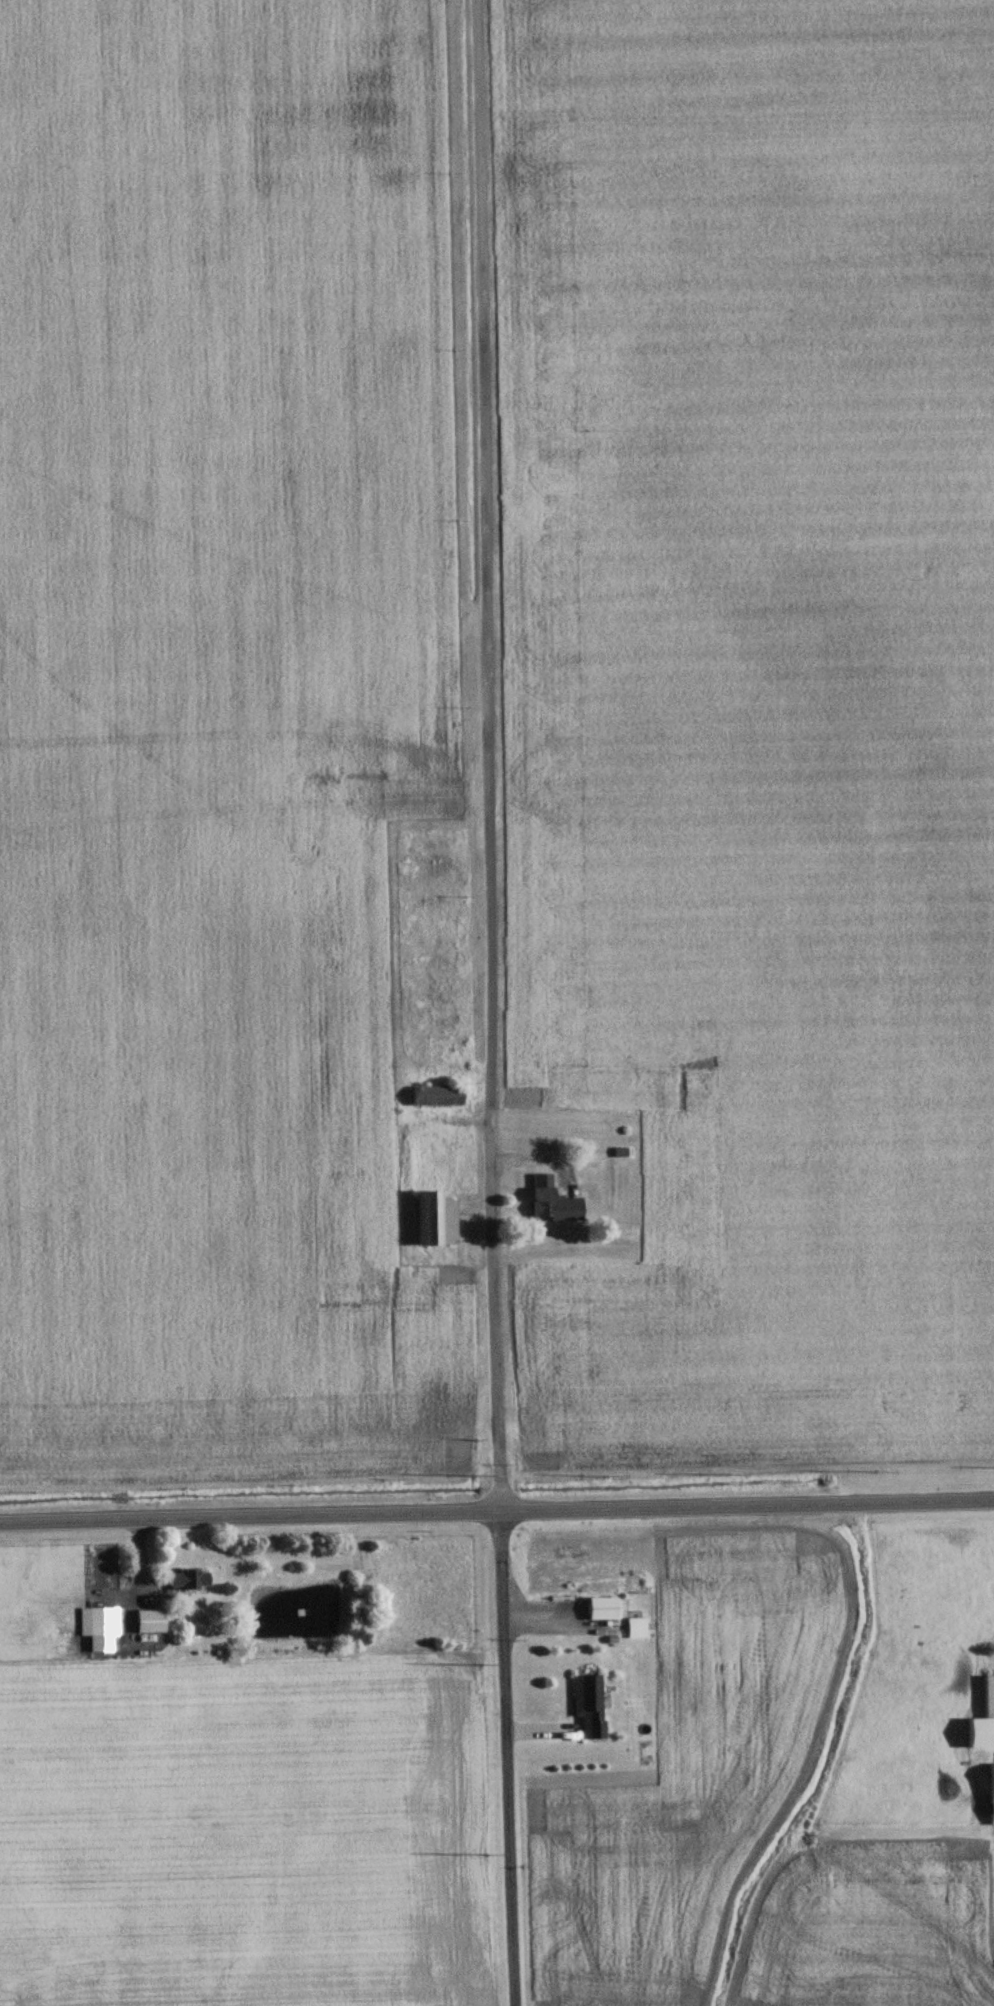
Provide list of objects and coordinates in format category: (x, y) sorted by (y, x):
crop: (754, 708)
crop: (218, 737)
road: (483, 1003)
building: (432, 1096)
building: (549, 1202)
building: (431, 1220)
road: (497, 1514)
building: (187, 1581)
building: (602, 1610)
building: (149, 1622)
building: (99, 1623)
building: (632, 1628)
building: (590, 1707)
building: (982, 1719)
crop: (677, 1777)
building: (990, 1796)
crop: (248, 1830)
crop: (876, 1926)

